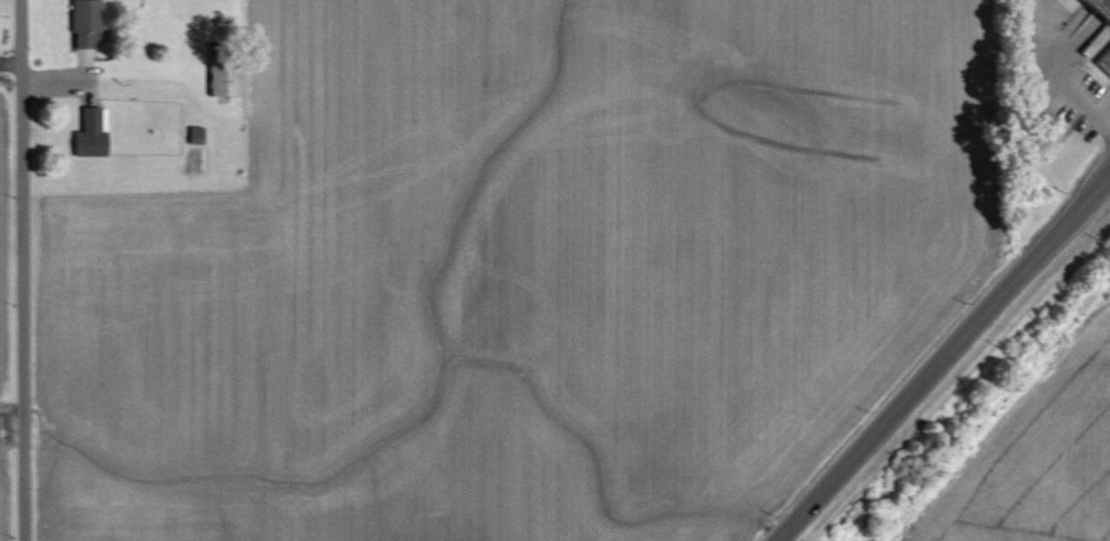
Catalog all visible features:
building: (1101, 7)
building: (88, 23)
building: (1104, 62)
building: (227, 75)
road: (9, 83)
road: (21, 270)
road: (943, 357)

